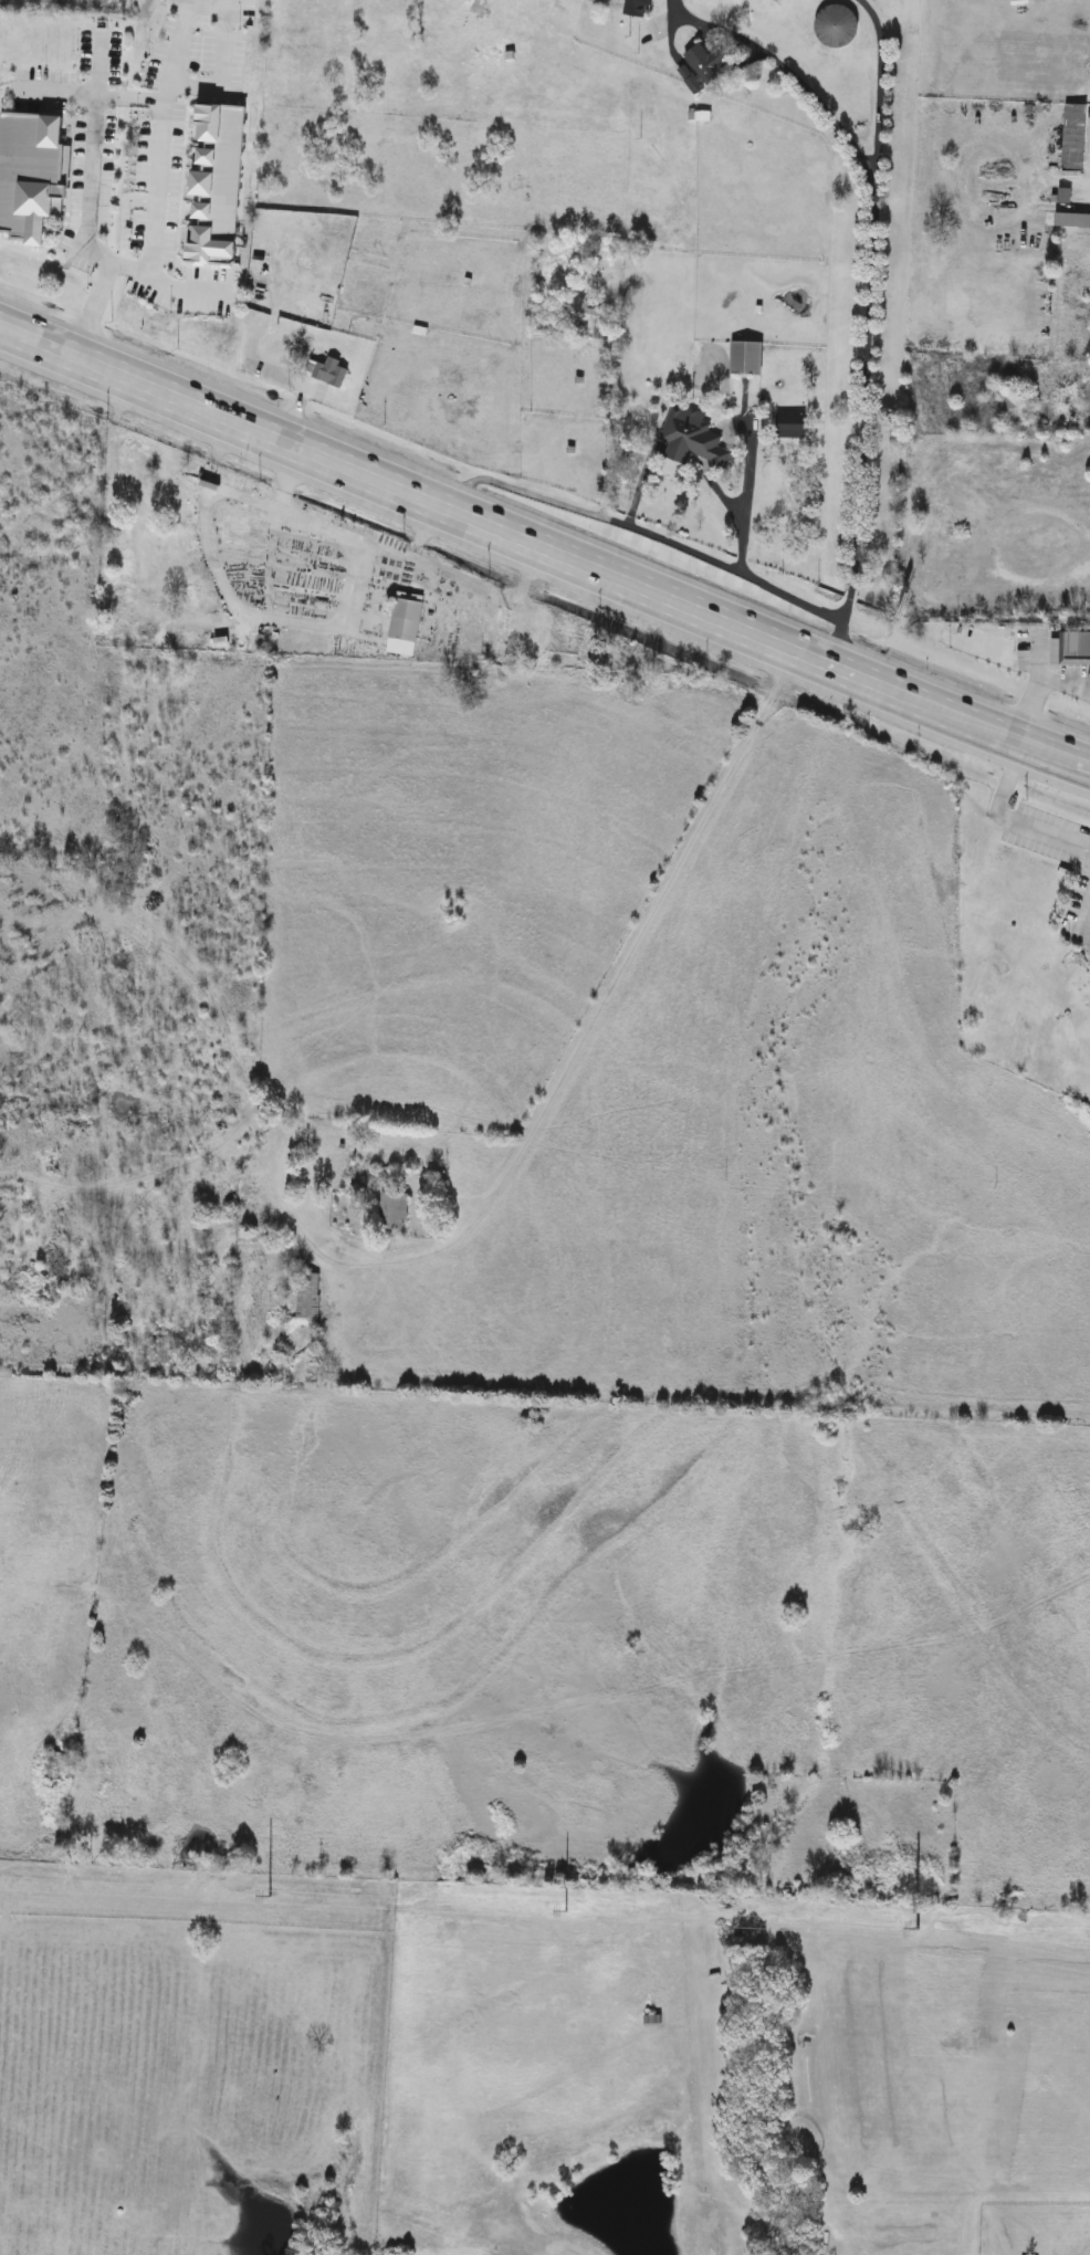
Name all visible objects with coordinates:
building: (637, 8)
building: (838, 28)
building: (644, 38)
road: (184, 41)
building: (97, 46)
road: (218, 59)
building: (704, 69)
road: (882, 83)
road: (98, 94)
building: (1075, 138)
parking lot: (81, 143)
road: (92, 146)
parking lot: (181, 147)
building: (31, 177)
building: (217, 186)
building: (1072, 221)
building: (86, 241)
road: (153, 243)
building: (583, 250)
road: (187, 286)
road: (872, 286)
building: (590, 318)
building: (746, 360)
building: (332, 374)
building: (1017, 411)
road: (610, 412)
building: (790, 428)
building: (693, 439)
building: (134, 466)
road: (747, 502)
road: (639, 528)
road: (544, 549)
building: (406, 626)
building: (1071, 651)
building: (628, 654)
road: (1038, 688)
road: (1008, 811)
road: (1082, 891)
road: (598, 1021)
building: (394, 1212)
building: (308, 1298)
building: (54, 1768)
building: (652, 2022)

